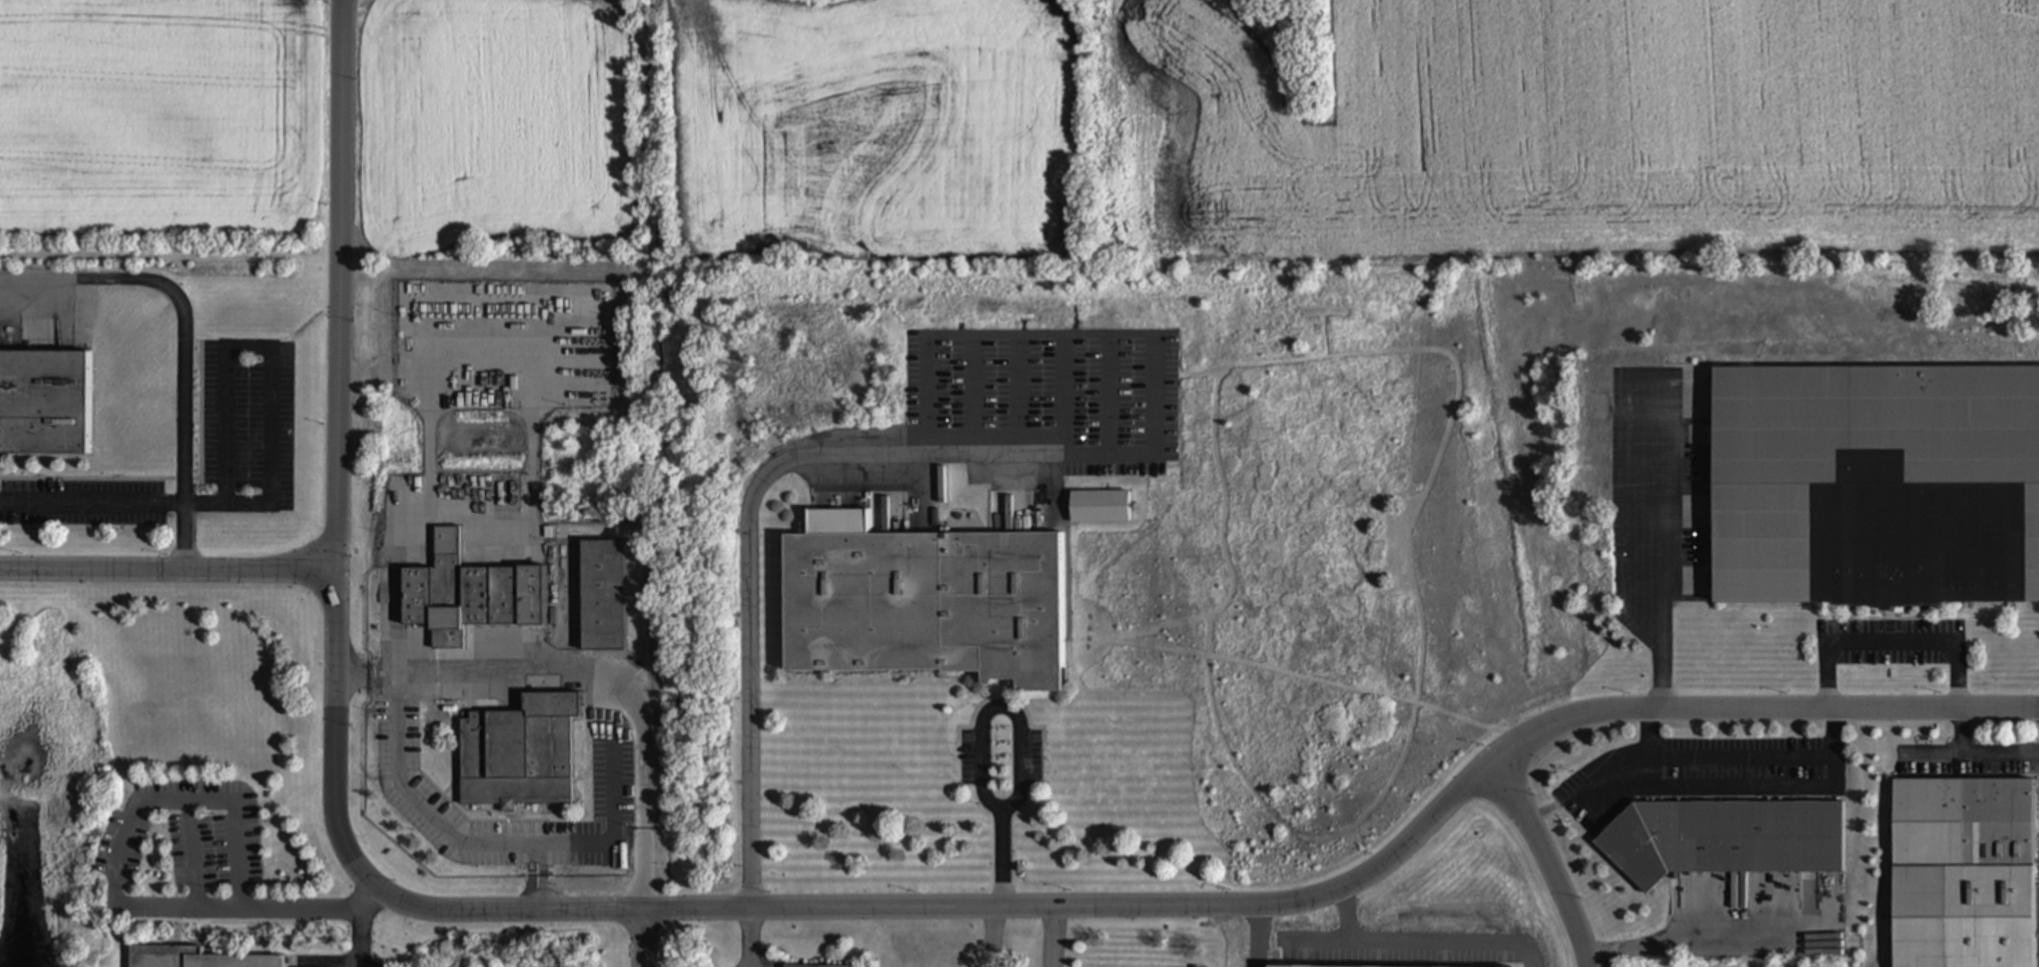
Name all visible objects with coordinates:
road: (337, 284)
road: (175, 341)
road: (268, 347)
road: (376, 376)
building: (45, 402)
building: (1876, 486)
road: (112, 502)
building: (1100, 507)
road: (745, 518)
road: (407, 531)
road: (1658, 552)
road: (166, 569)
building: (469, 595)
building: (604, 596)
building: (924, 603)
road: (1890, 640)
road: (1780, 708)
road: (983, 744)
road: (1983, 751)
road: (1506, 752)
building: (519, 753)
road: (1744, 757)
road: (331, 787)
road: (415, 806)
building: (1998, 826)
building: (1726, 840)
road: (1548, 861)
road: (110, 891)
road: (1005, 907)
road: (1343, 914)
road: (1258, 935)
road: (994, 937)
road: (1050, 937)
road: (358, 938)
road: (643, 938)
road: (748, 938)
road: (1409, 940)
road: (1708, 941)
building: (196, 958)
building: (796, 966)

